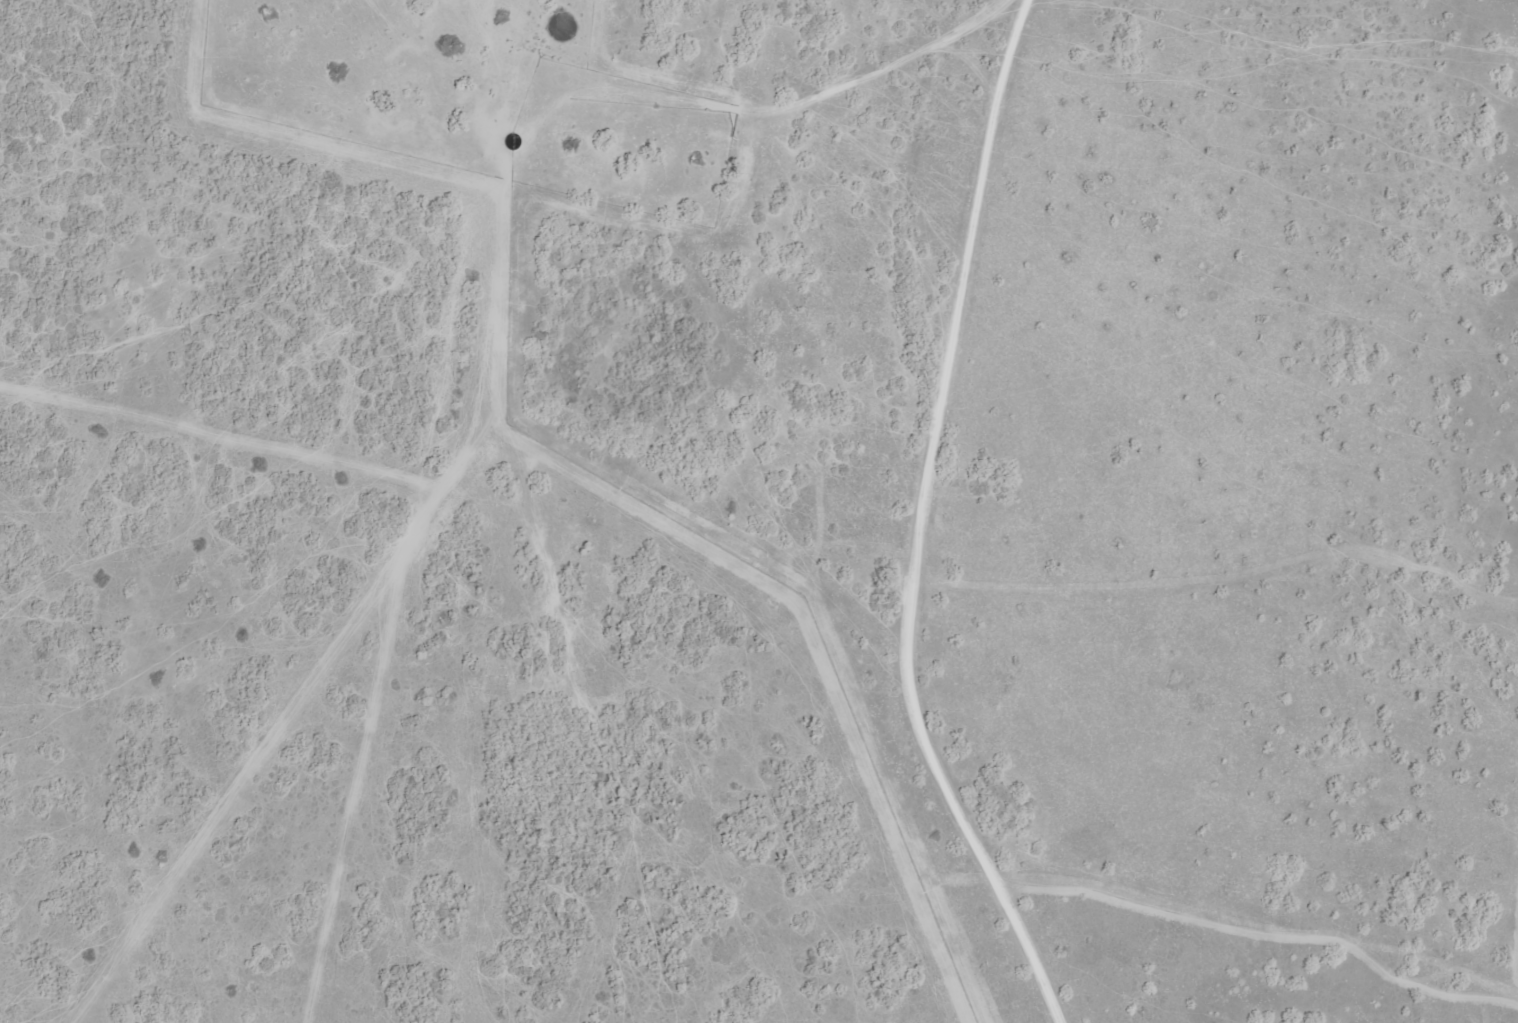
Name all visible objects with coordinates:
road: (929, 523)

